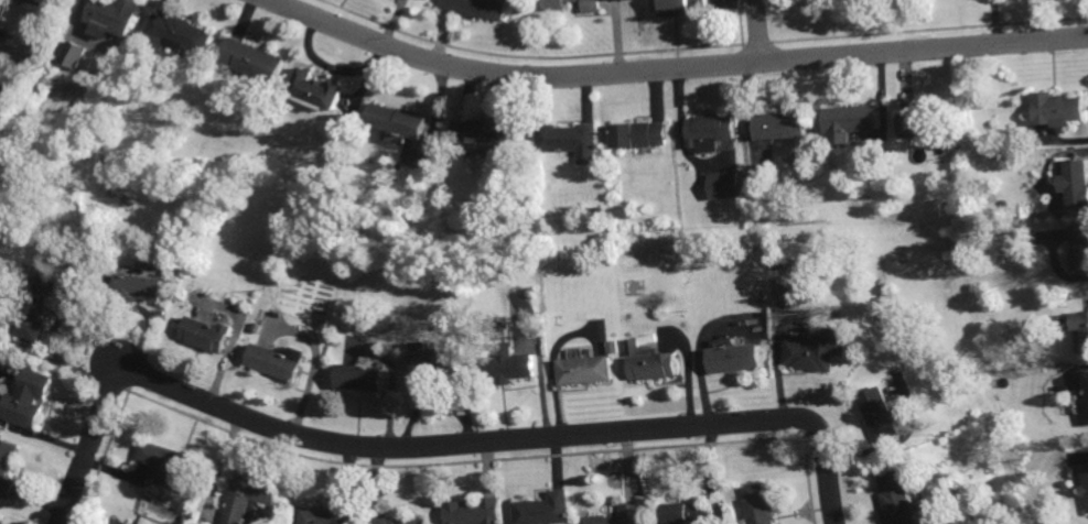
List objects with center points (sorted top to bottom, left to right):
building: (0, 2)
building: (556, 3)
building: (592, 4)
building: (478, 7)
building: (679, 7)
building: (111, 14)
road: (756, 30)
building: (181, 32)
building: (75, 54)
building: (252, 58)
road: (675, 66)
building: (317, 88)
building: (1056, 109)
building: (850, 121)
building: (396, 122)
building: (919, 122)
building: (779, 124)
building: (708, 131)
building: (485, 134)
building: (639, 134)
building: (569, 140)
building: (916, 149)
building: (1075, 183)
building: (726, 185)
building: (1058, 214)
building: (1079, 248)
building: (137, 290)
building: (33, 301)
building: (206, 334)
building: (1079, 334)
building: (816, 353)
building: (433, 356)
building: (277, 358)
building: (732, 360)
building: (508, 361)
building: (650, 361)
building: (584, 367)
building: (357, 373)
building: (1085, 391)
building: (24, 396)
building: (877, 411)
road: (434, 444)
building: (173, 461)
building: (6, 463)
building: (1084, 483)
building: (248, 494)
building: (895, 496)
building: (543, 507)
building: (757, 509)
building: (472, 510)
building: (338, 511)
building: (687, 512)
building: (620, 514)
building: (182, 518)
building: (0, 520)
building: (398, 520)
building: (118, 521)

